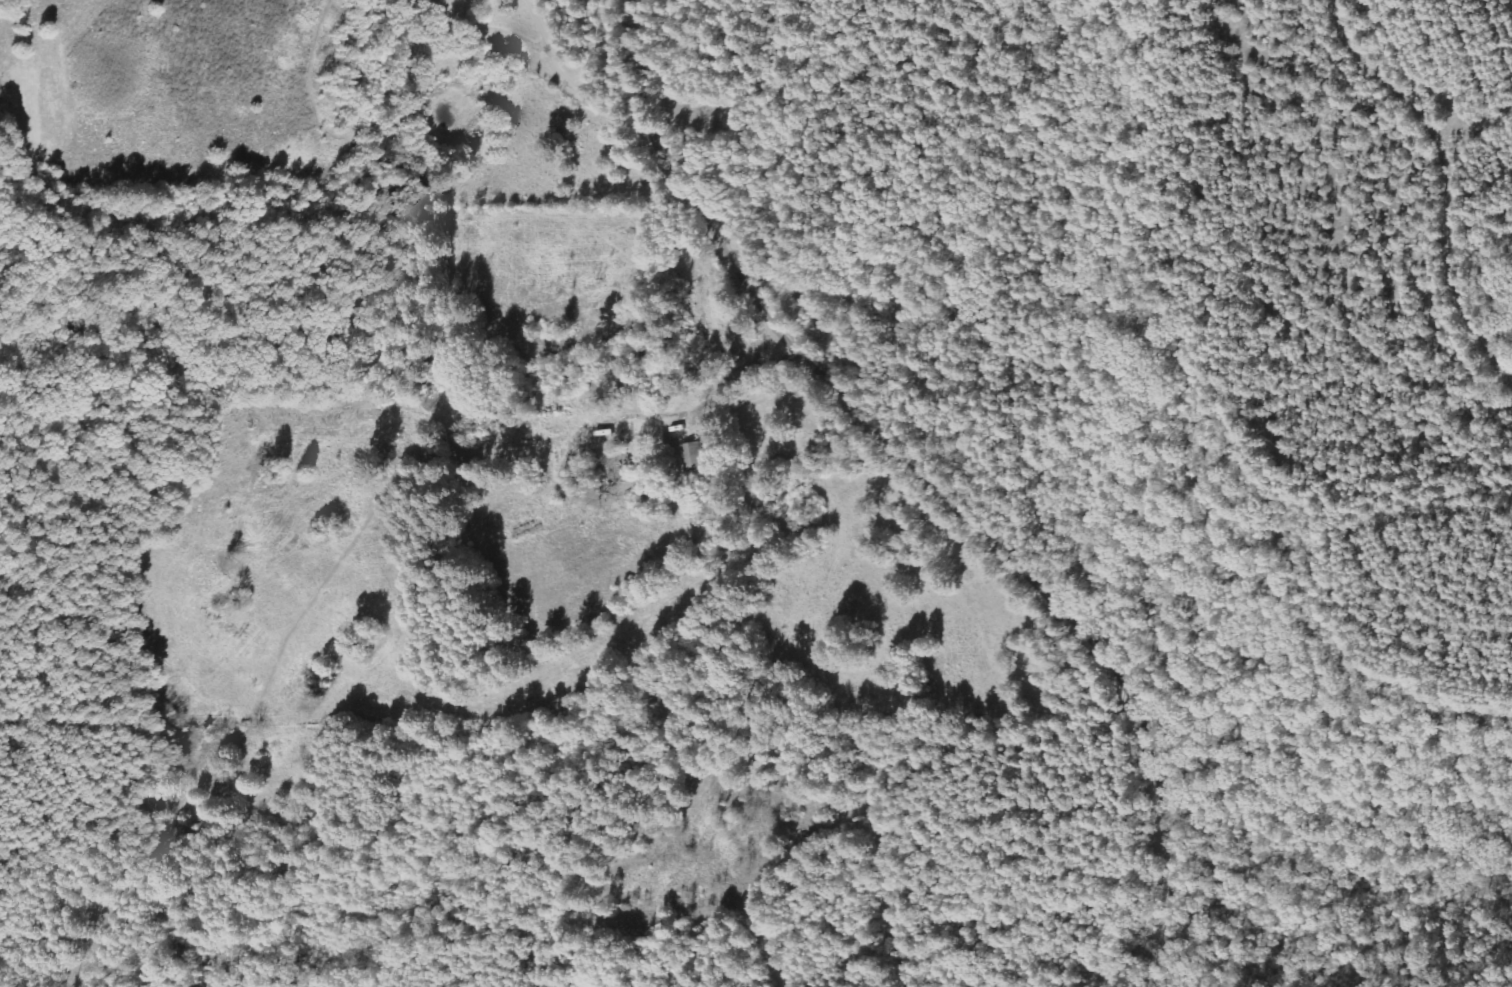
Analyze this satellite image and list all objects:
road: (437, 149)
building: (693, 457)
road: (934, 483)

